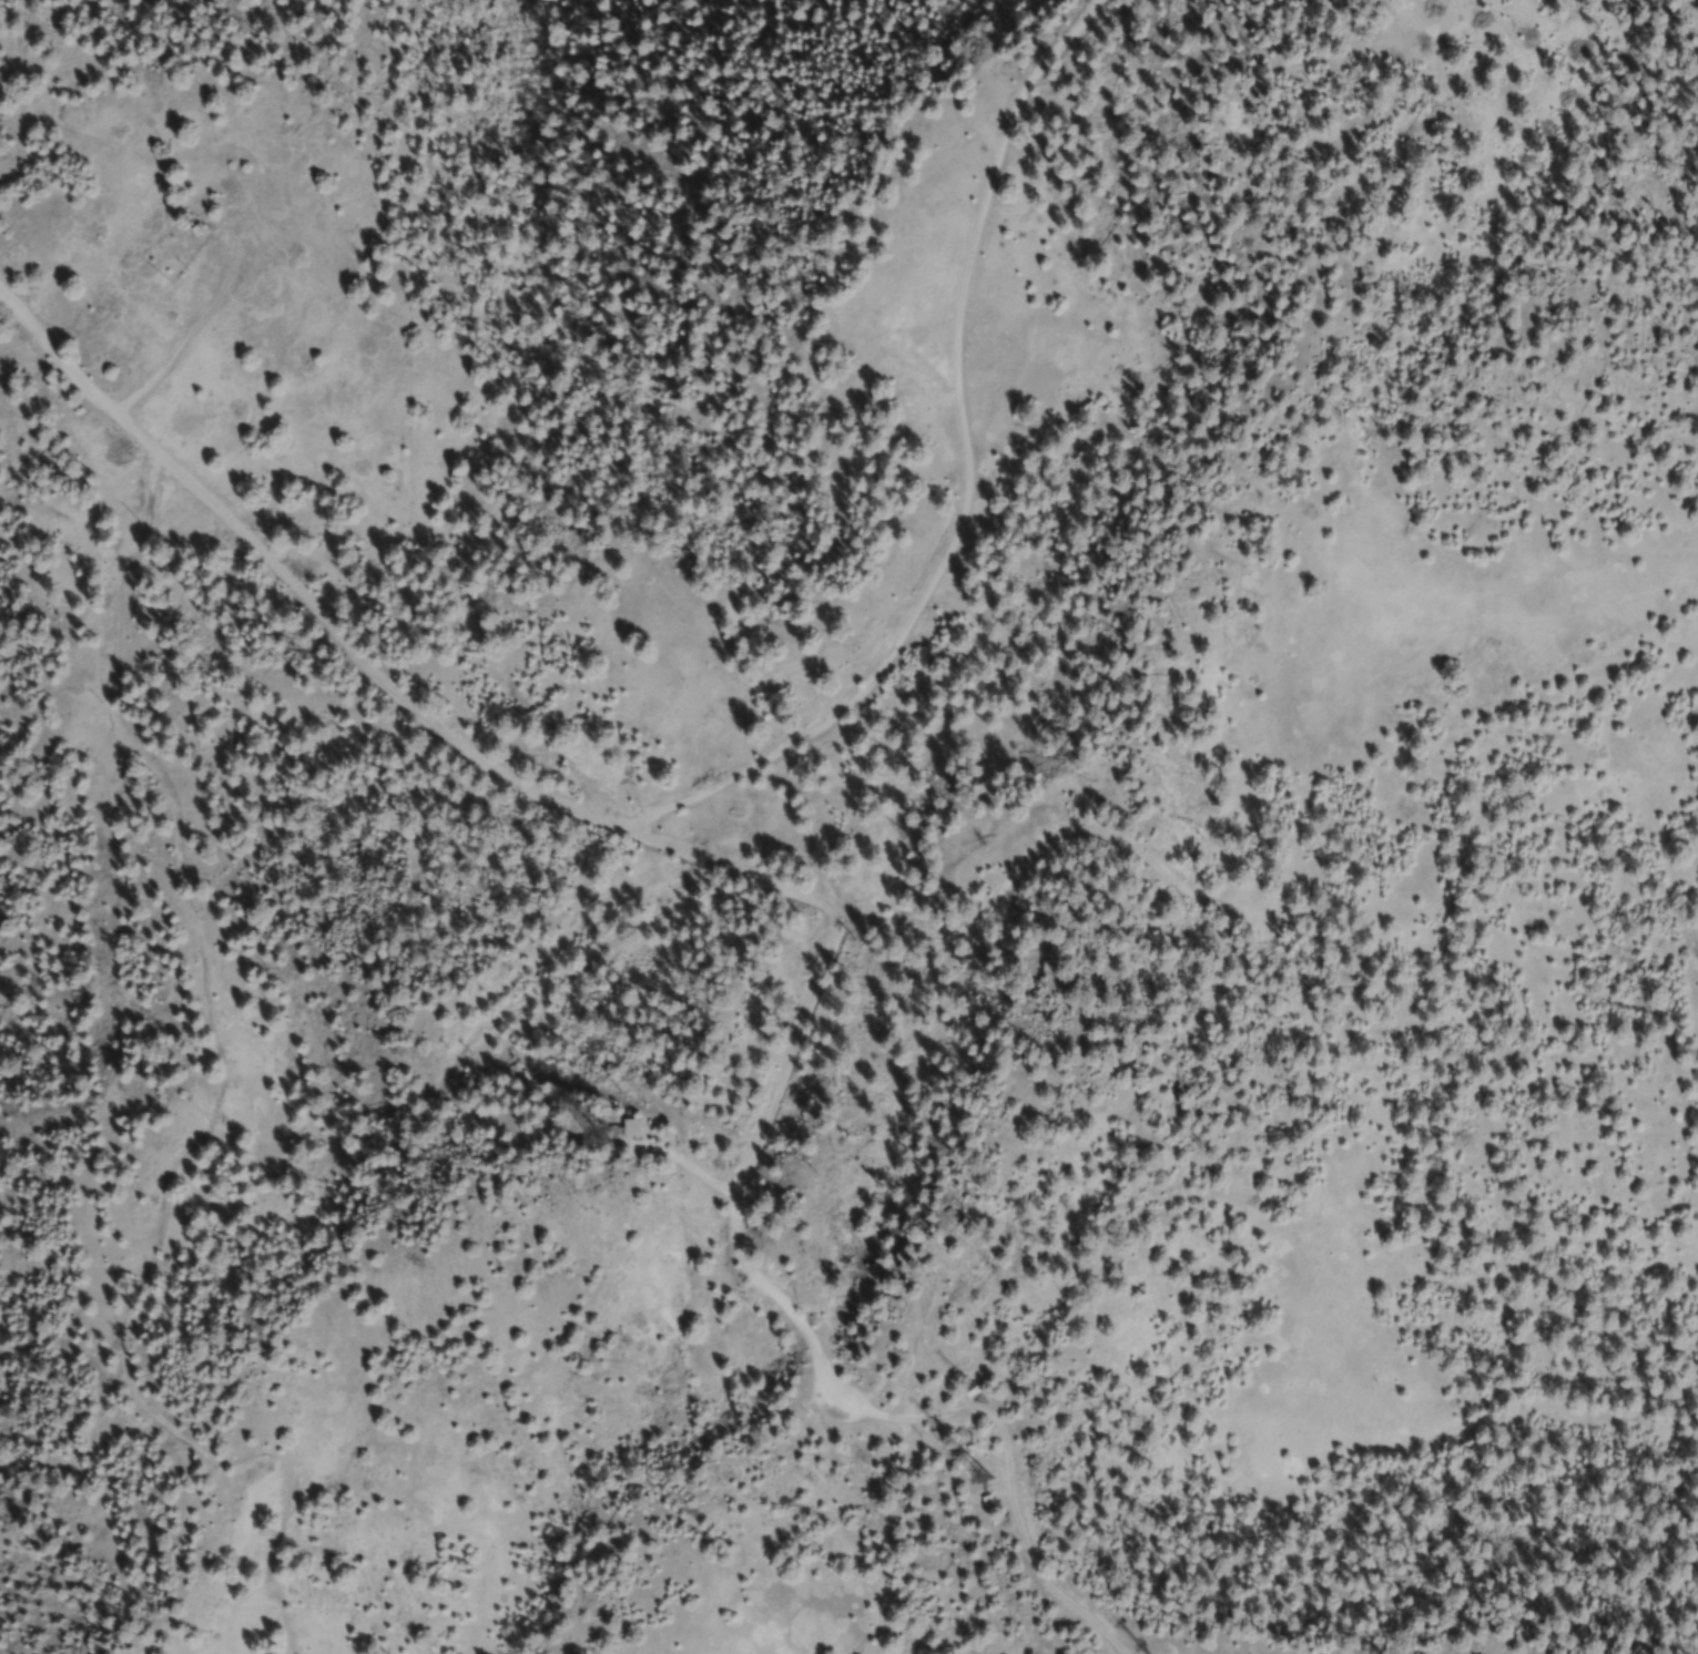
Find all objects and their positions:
road: (581, 819)
building: (638, 1131)

